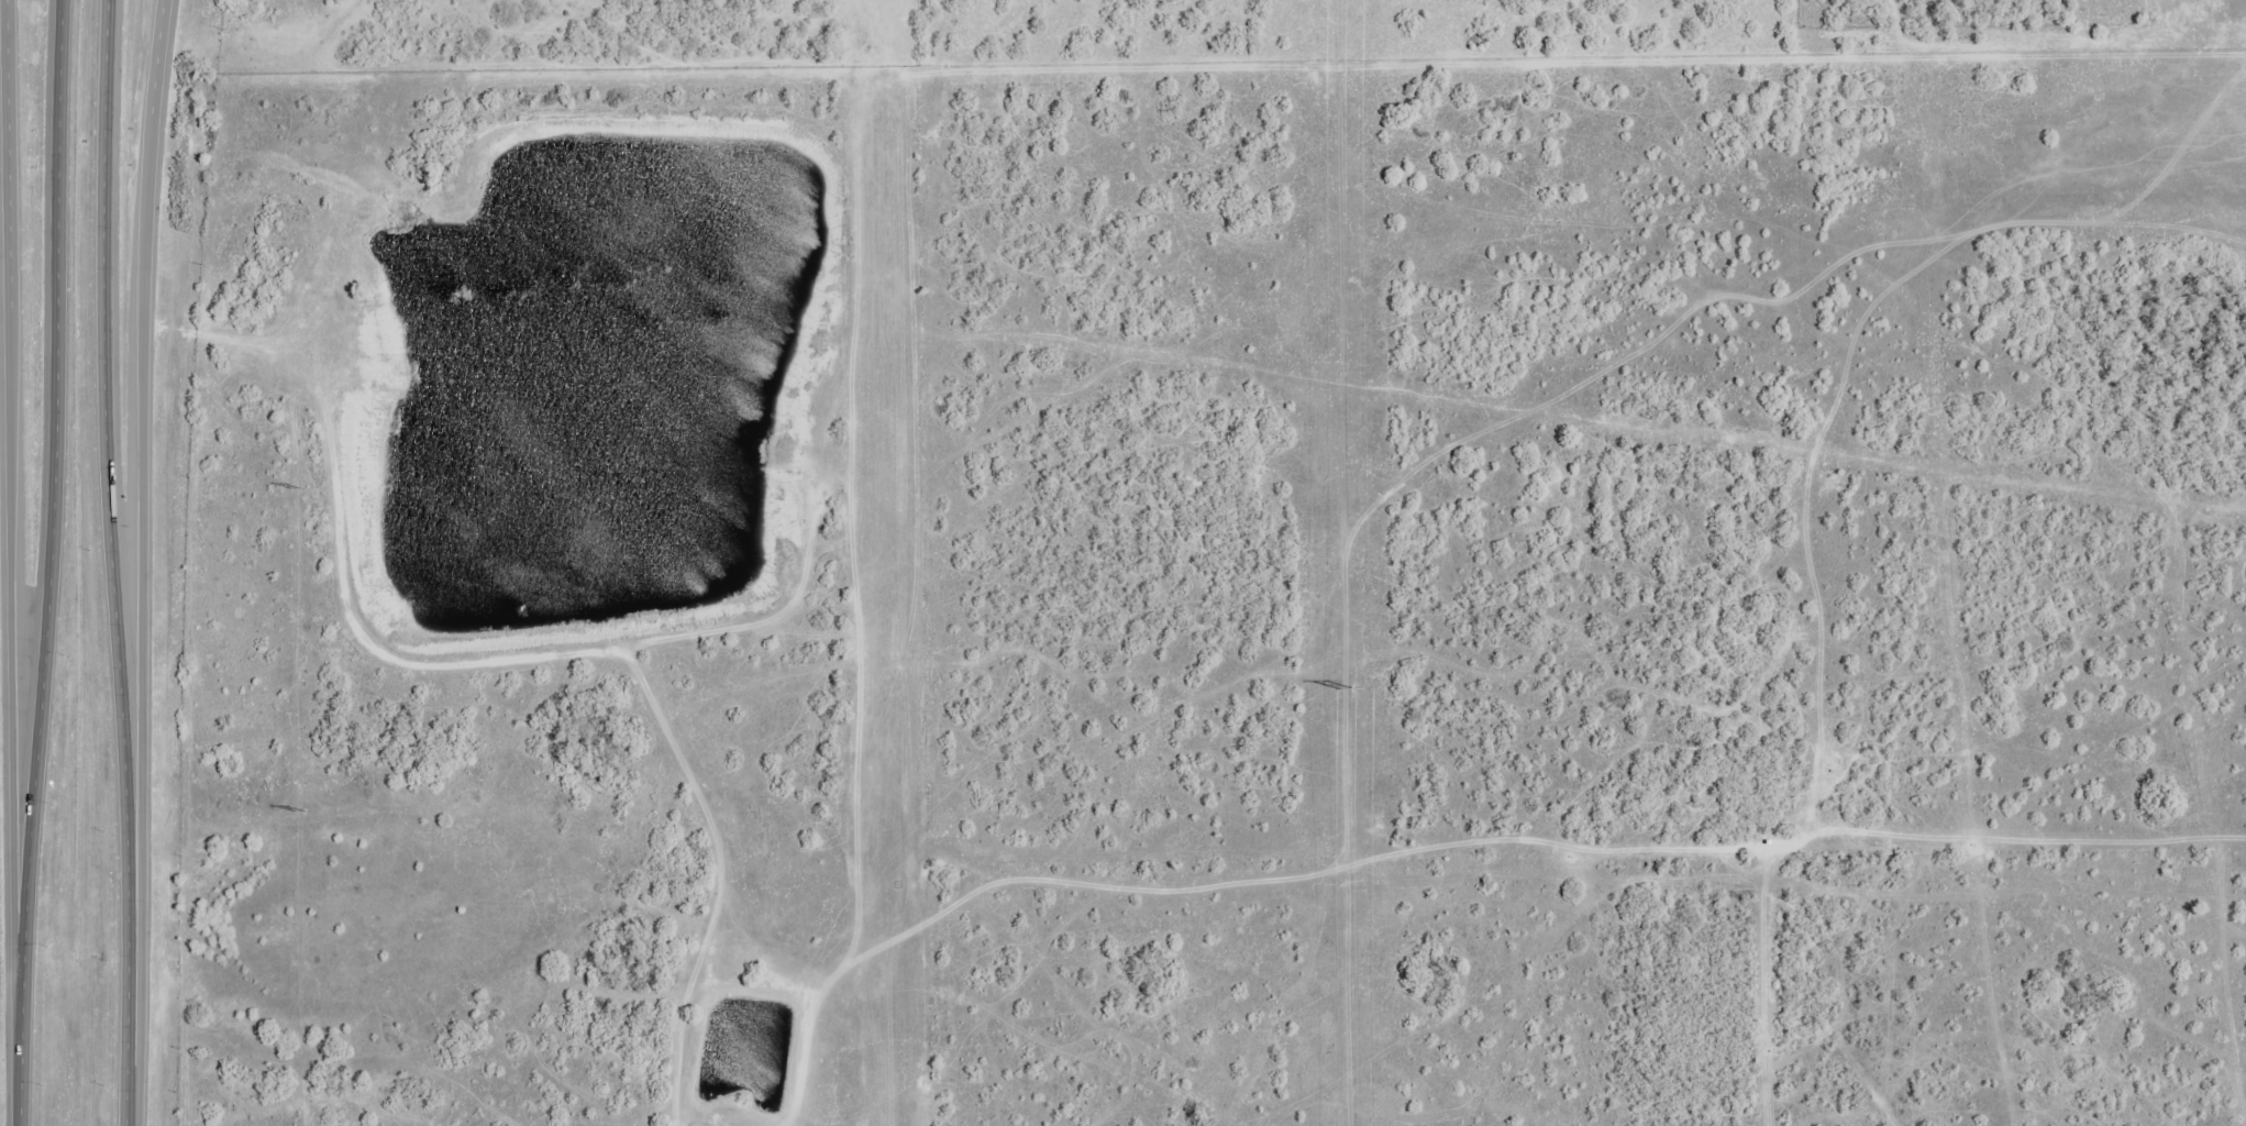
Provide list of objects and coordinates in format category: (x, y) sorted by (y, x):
road: (55, 269)
road: (102, 269)
power tower: (296, 488)
road: (13, 500)
road: (137, 534)
power tower: (1347, 687)
road: (33, 769)
road: (124, 805)
power tower: (300, 809)
road: (19, 1063)
road: (136, 1099)

